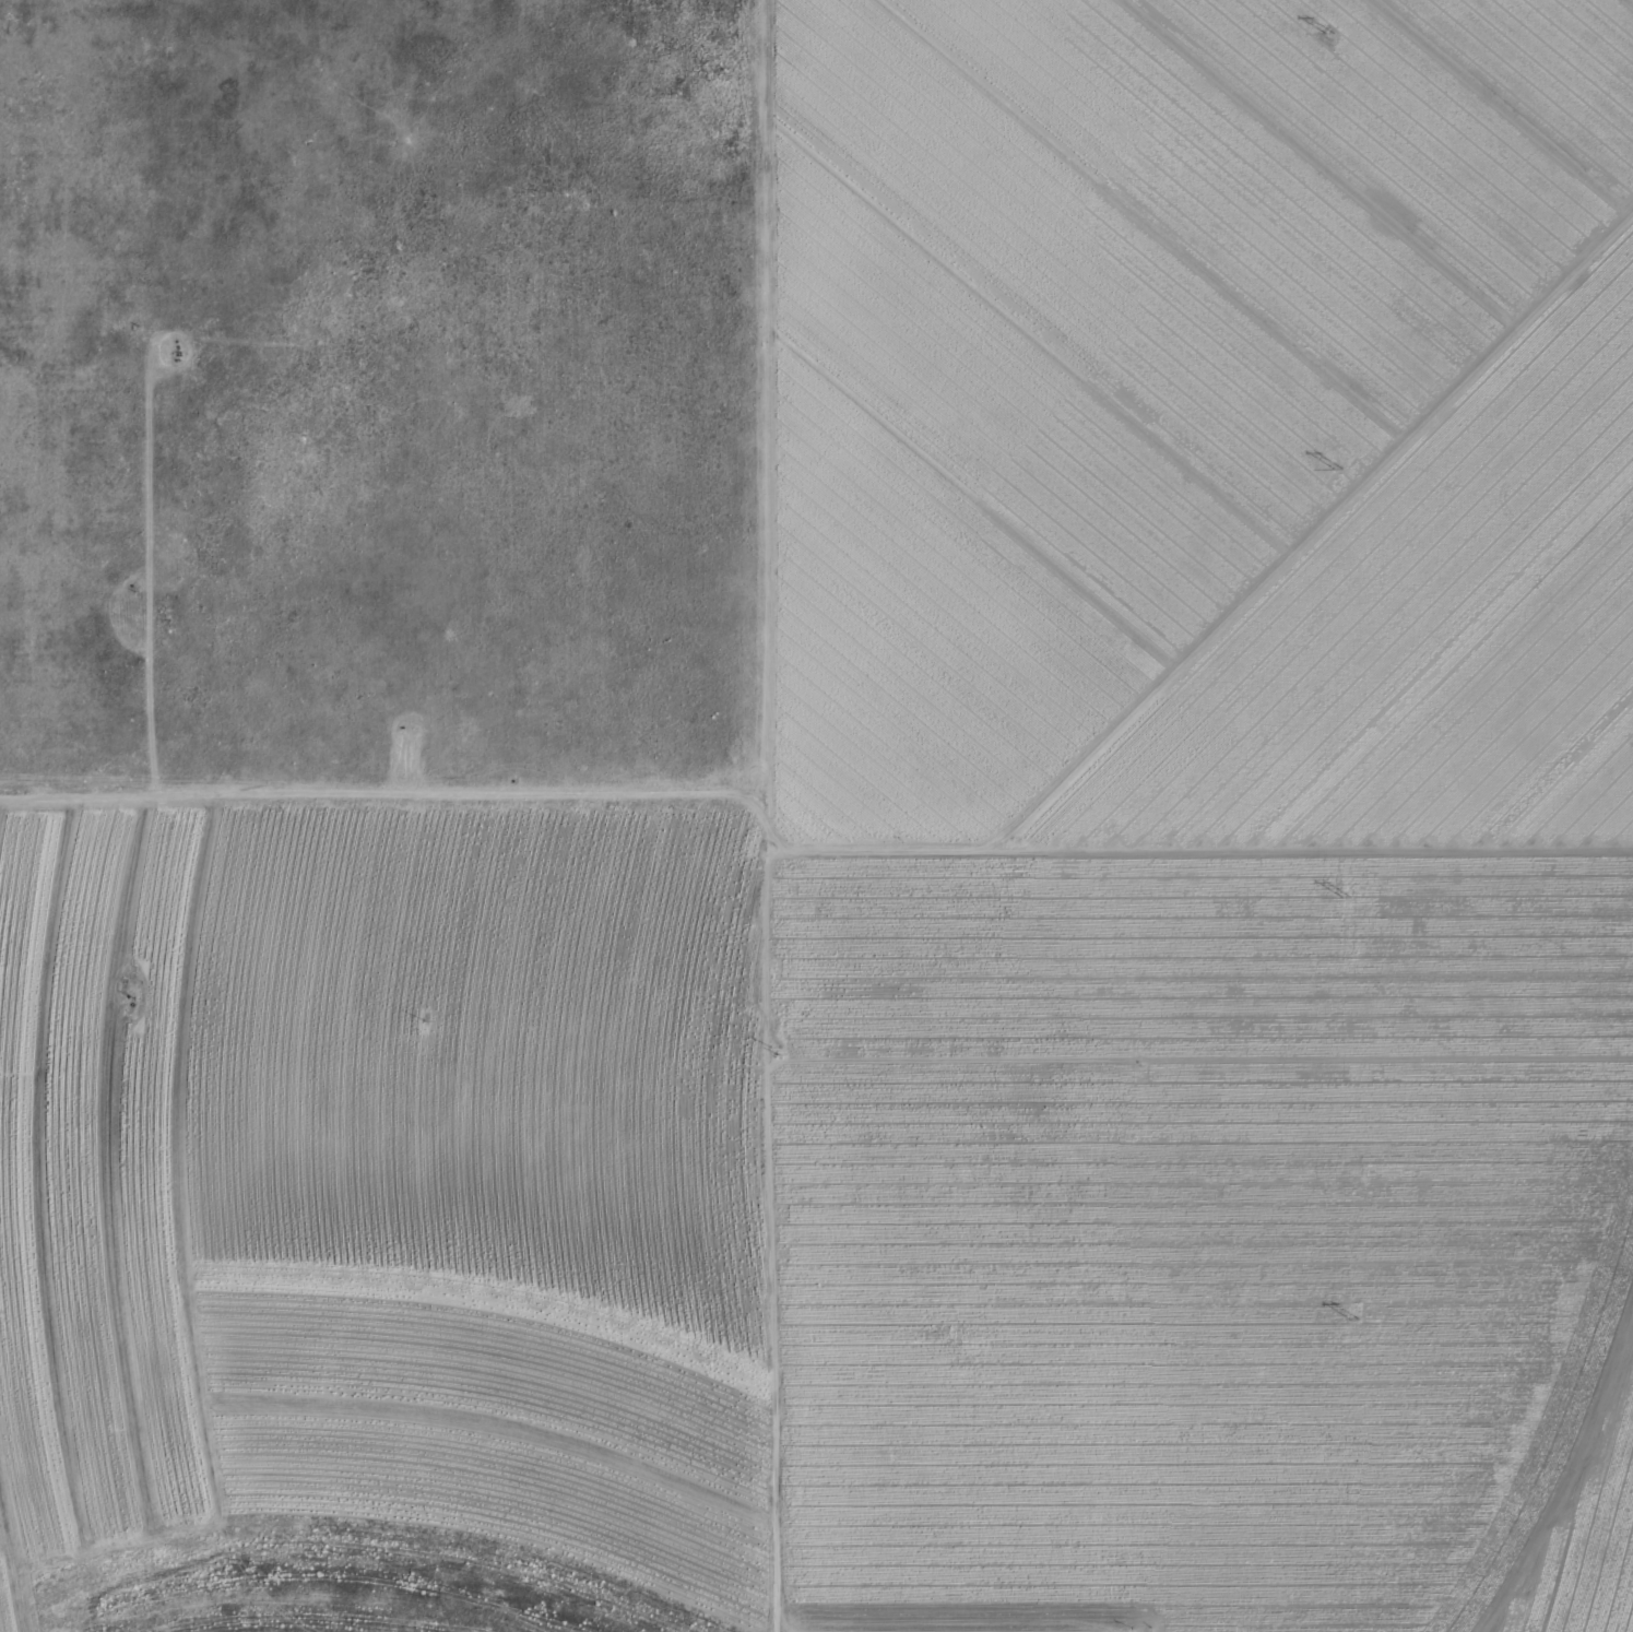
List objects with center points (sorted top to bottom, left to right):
power tower: (1335, 33)
power tower: (1342, 468)
power tower: (1351, 896)
power tower: (1359, 1317)

